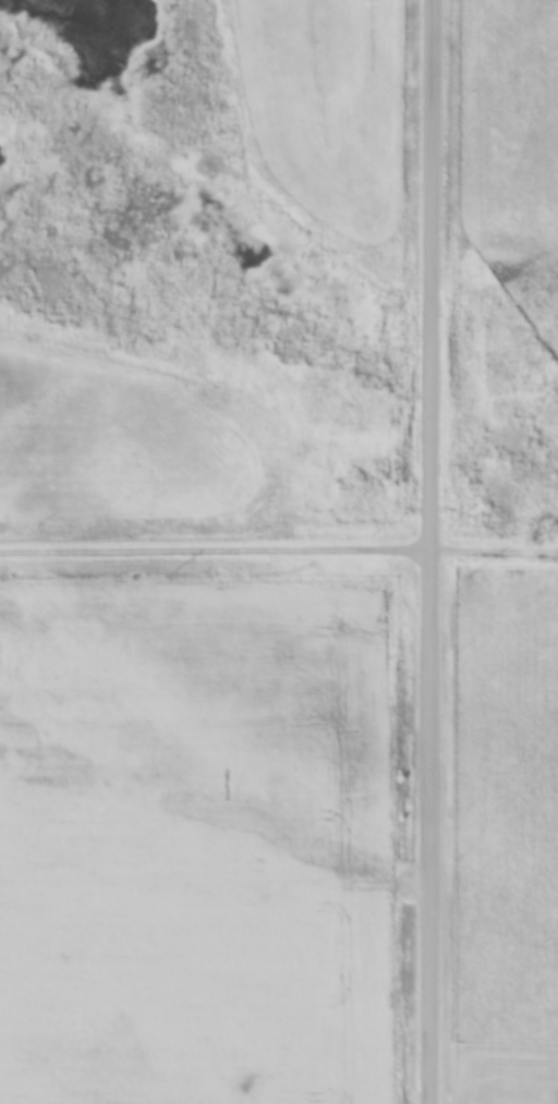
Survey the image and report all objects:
road: (278, 551)
road: (438, 551)

